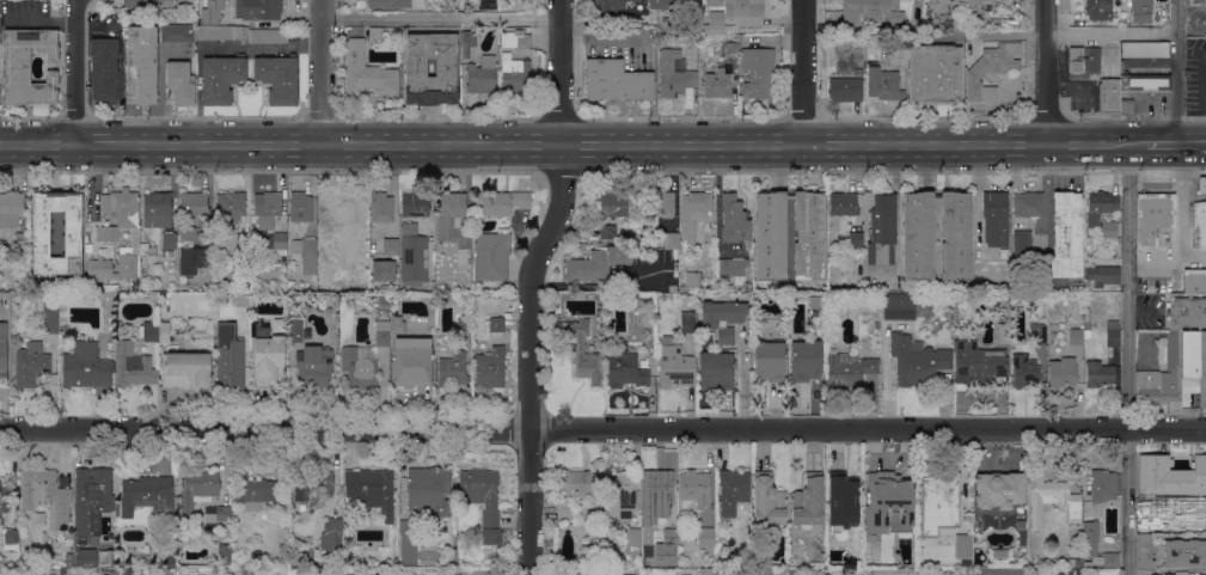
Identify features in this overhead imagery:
building: (714, 2)
building: (141, 4)
building: (394, 4)
building: (663, 4)
building: (605, 6)
building: (1165, 7)
building: (258, 8)
building: (961, 10)
building: (1097, 10)
building: (874, 11)
building: (1141, 11)
building: (737, 14)
road: (441, 17)
road: (47, 19)
building: (215, 26)
building: (176, 32)
road: (1065, 33)
building: (268, 35)
building: (514, 38)
building: (392, 41)
building: (467, 41)
building: (691, 41)
building: (705, 42)
building: (730, 48)
building: (1144, 49)
building: (354, 54)
building: (1084, 60)
building: (141, 65)
building: (27, 66)
building: (430, 68)
building: (990, 69)
building: (104, 71)
building: (757, 71)
road: (323, 72)
building: (515, 72)
road: (803, 72)
road: (1043, 72)
road: (85, 73)
building: (933, 73)
building: (673, 74)
building: (482, 75)
building: (221, 78)
building: (277, 78)
building: (614, 80)
building: (1143, 81)
building: (180, 82)
building: (717, 84)
building: (883, 84)
building: (845, 88)
road: (1175, 88)
building: (1107, 96)
building: (1124, 104)
road: (1137, 117)
road: (573, 143)
road: (1175, 143)
building: (1201, 185)
road: (1049, 190)
road: (392, 192)
building: (501, 202)
building: (415, 203)
building: (613, 203)
building: (659, 203)
building: (843, 203)
building: (991, 203)
building: (192, 204)
building: (1028, 204)
building: (229, 207)
building: (300, 207)
building: (380, 207)
building: (11, 208)
building: (267, 208)
building: (157, 209)
building: (339, 209)
building: (692, 213)
building: (448, 214)
building: (1151, 215)
building: (1092, 216)
building: (733, 219)
building: (93, 221)
building: (1199, 226)
building: (87, 227)
building: (881, 230)
building: (606, 232)
building: (71, 233)
building: (1066, 234)
building: (936, 235)
building: (117, 238)
building: (770, 238)
building: (169, 239)
building: (855, 239)
building: (22, 240)
building: (243, 240)
building: (662, 241)
building: (280, 244)
building: (350, 246)
building: (390, 246)
building: (637, 249)
building: (1022, 249)
building: (169, 252)
building: (190, 252)
building: (306, 252)
building: (491, 255)
building: (412, 256)
road: (1167, 256)
building: (638, 258)
building: (596, 263)
building: (733, 268)
building: (382, 270)
building: (1102, 275)
building: (1040, 276)
building: (441, 281)
building: (692, 281)
road: (528, 285)
building: (1200, 285)
road: (1127, 286)
building: (111, 287)
building: (497, 294)
building: (241, 298)
building: (1000, 298)
building: (381, 300)
building: (816, 300)
building: (899, 310)
building: (1187, 311)
building: (722, 318)
building: (687, 322)
building: (50, 323)
building: (278, 324)
building: (397, 324)
building: (463, 324)
building: (1086, 324)
building: (877, 325)
building: (495, 328)
building: (296, 330)
building: (149, 331)
building: (164, 331)
building: (426, 331)
building: (1113, 331)
building: (382, 332)
building: (1003, 332)
building: (1037, 334)
building: (1075, 336)
building: (584, 354)
building: (267, 355)
building: (229, 357)
building: (770, 360)
building: (806, 360)
building: (917, 360)
building: (4, 363)
building: (31, 363)
building: (674, 363)
building: (978, 363)
building: (85, 366)
building: (133, 366)
building: (314, 366)
building: (359, 366)
building: (1193, 366)
building: (408, 367)
building: (452, 367)
building: (490, 368)
building: (849, 368)
building: (185, 369)
building: (716, 369)
building: (625, 371)
building: (1061, 372)
building: (1024, 373)
building: (1098, 373)
building: (1161, 378)
road: (602, 428)
building: (1170, 475)
building: (311, 483)
building: (1104, 484)
building: (694, 488)
building: (197, 489)
building: (371, 489)
building: (998, 489)
building: (428, 490)
building: (576, 490)
building: (733, 491)
building: (892, 491)
building: (256, 493)
building: (941, 493)
building: (480, 494)
building: (47, 495)
building: (147, 495)
building: (655, 495)
building: (6, 496)
building: (619, 496)
building: (840, 497)
building: (92, 498)
building: (1051, 498)
road: (1127, 501)
building: (767, 502)
building: (808, 502)
building: (1195, 508)
building: (1164, 509)
building: (224, 513)
building: (930, 520)
building: (945, 520)
building: (884, 526)
building: (169, 528)
building: (331, 533)
building: (706, 536)
building: (1090, 536)
building: (671, 537)
building: (11, 538)
building: (632, 539)
building: (408, 542)
building: (183, 545)
building: (963, 545)
building: (1144, 552)
building: (1184, 552)
building: (225, 553)
building: (347, 556)
building: (86, 557)
building: (69, 559)
building: (1110, 559)
building: (166, 561)
building: (672, 562)
building: (1075, 562)
building: (1084, 563)
building: (128, 570)
building: (62, 571)
building: (704, 571)
building: (1003, 571)
building: (1067, 571)
building: (109, 573)
building: (791, 573)
building: (1181, 573)
building: (753, 574)
building: (1158, 574)

